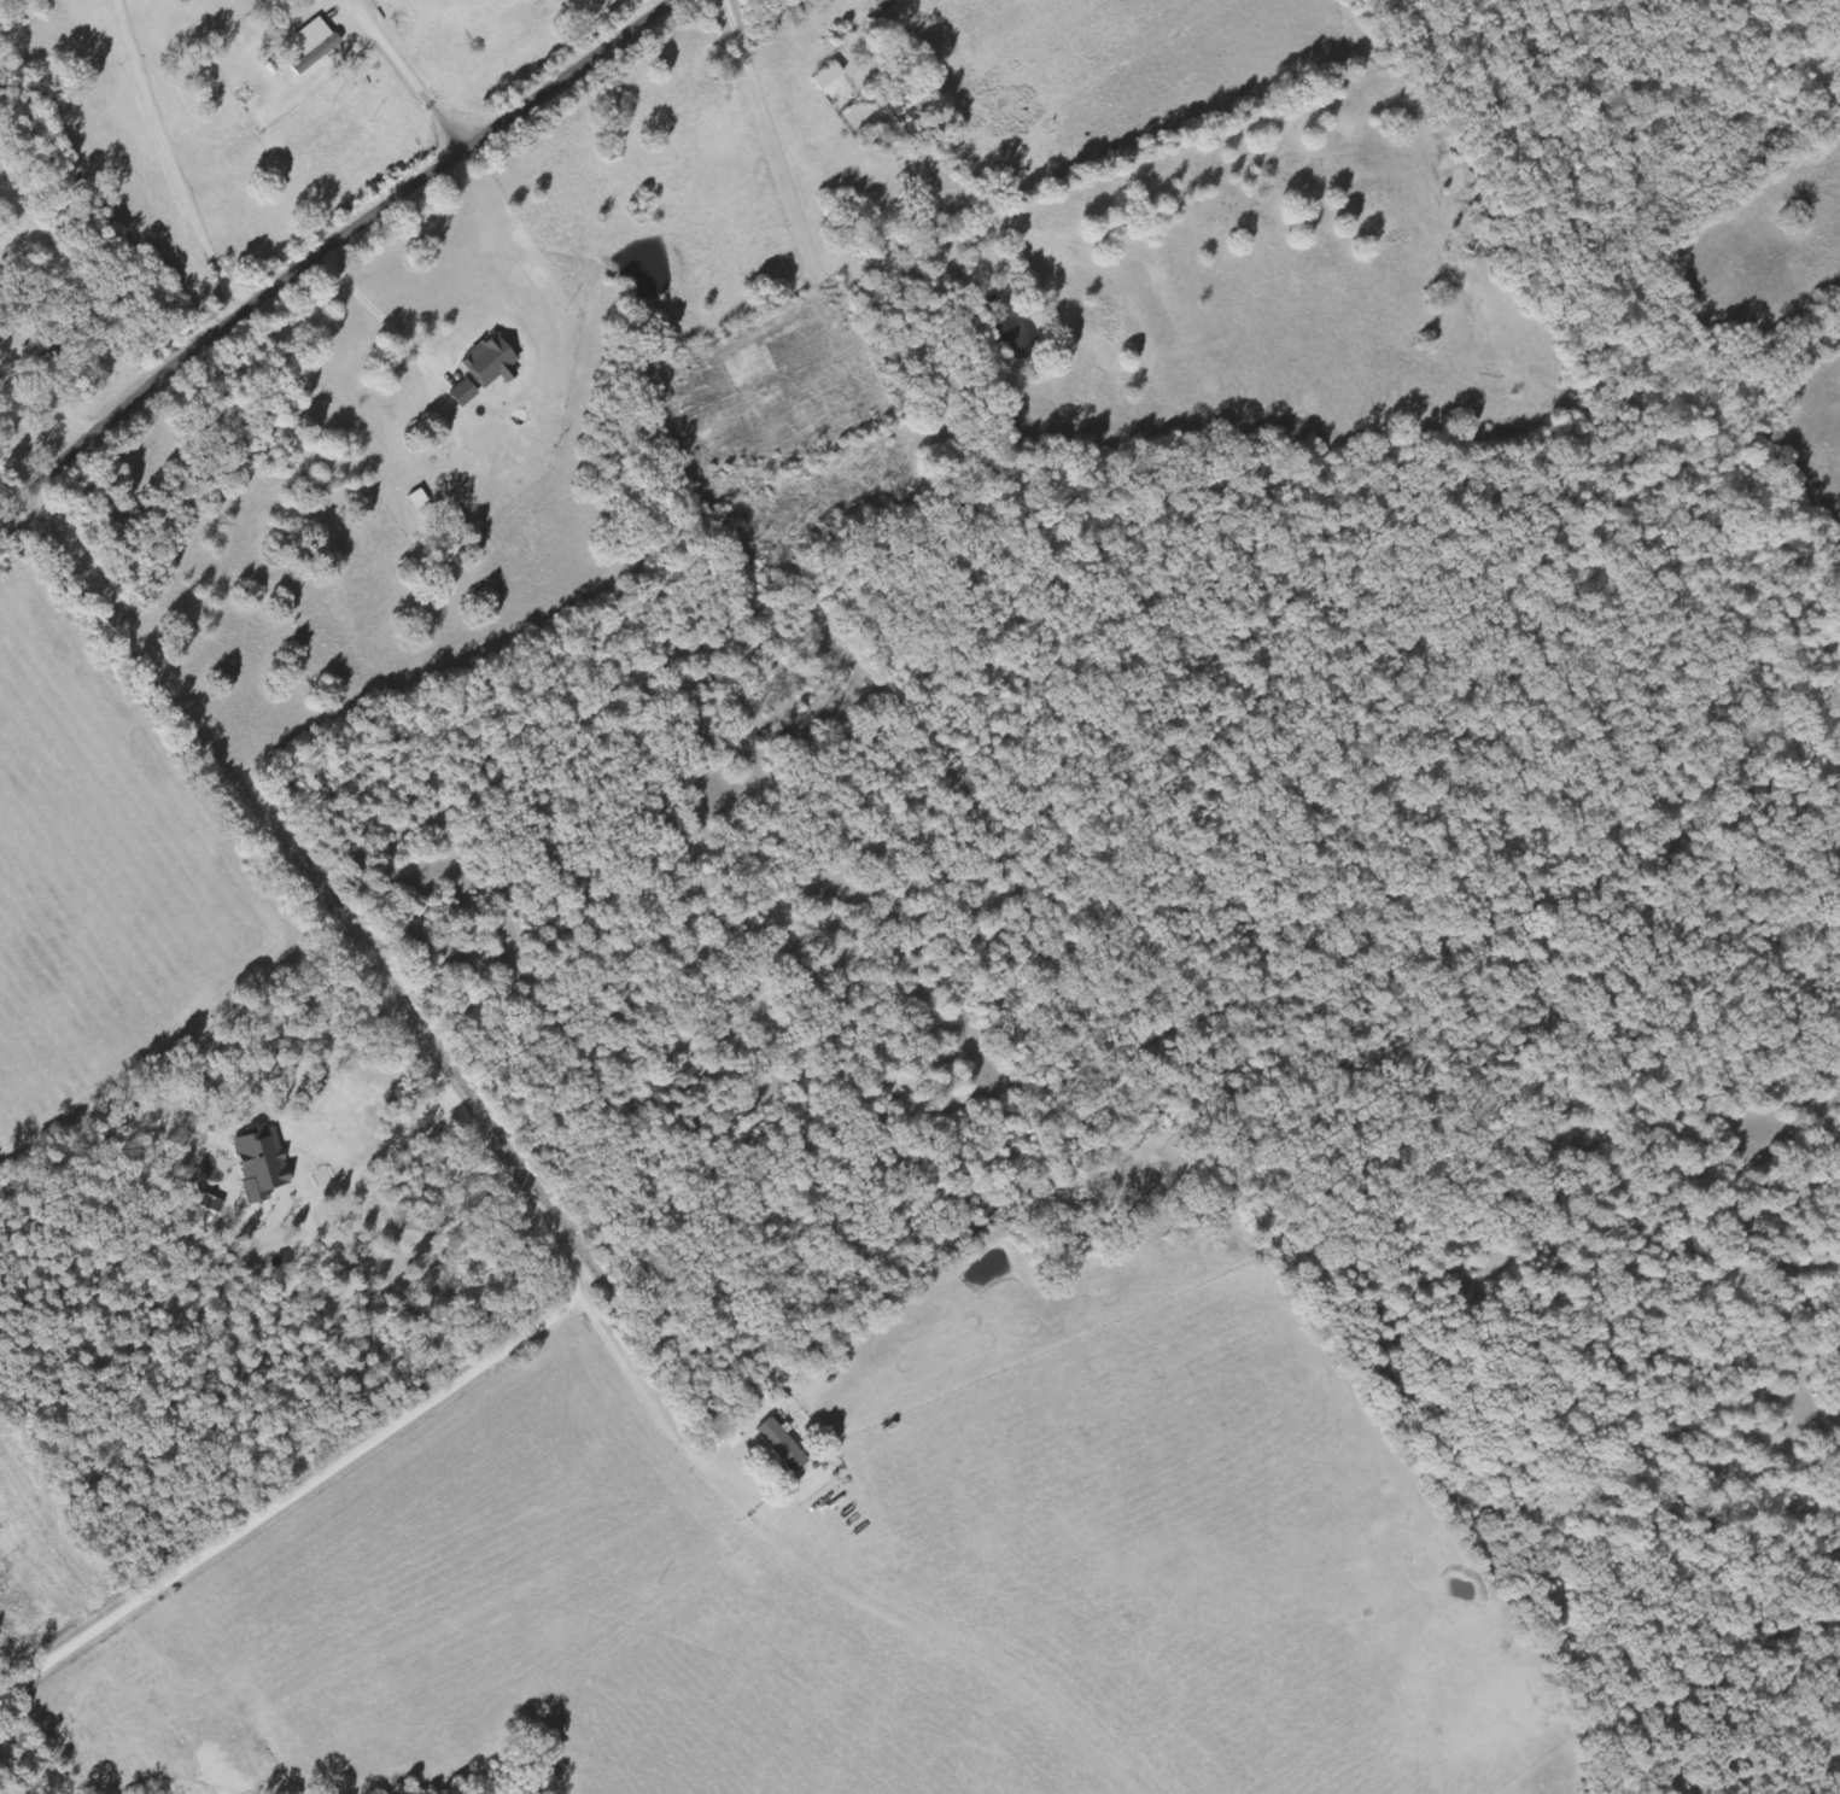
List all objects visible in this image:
building: (315, 45)
building: (830, 76)
road: (332, 252)
building: (492, 362)
building: (465, 392)
building: (263, 1162)
road: (524, 1191)
building: (209, 1209)
building: (785, 1445)
road: (830, 1582)

